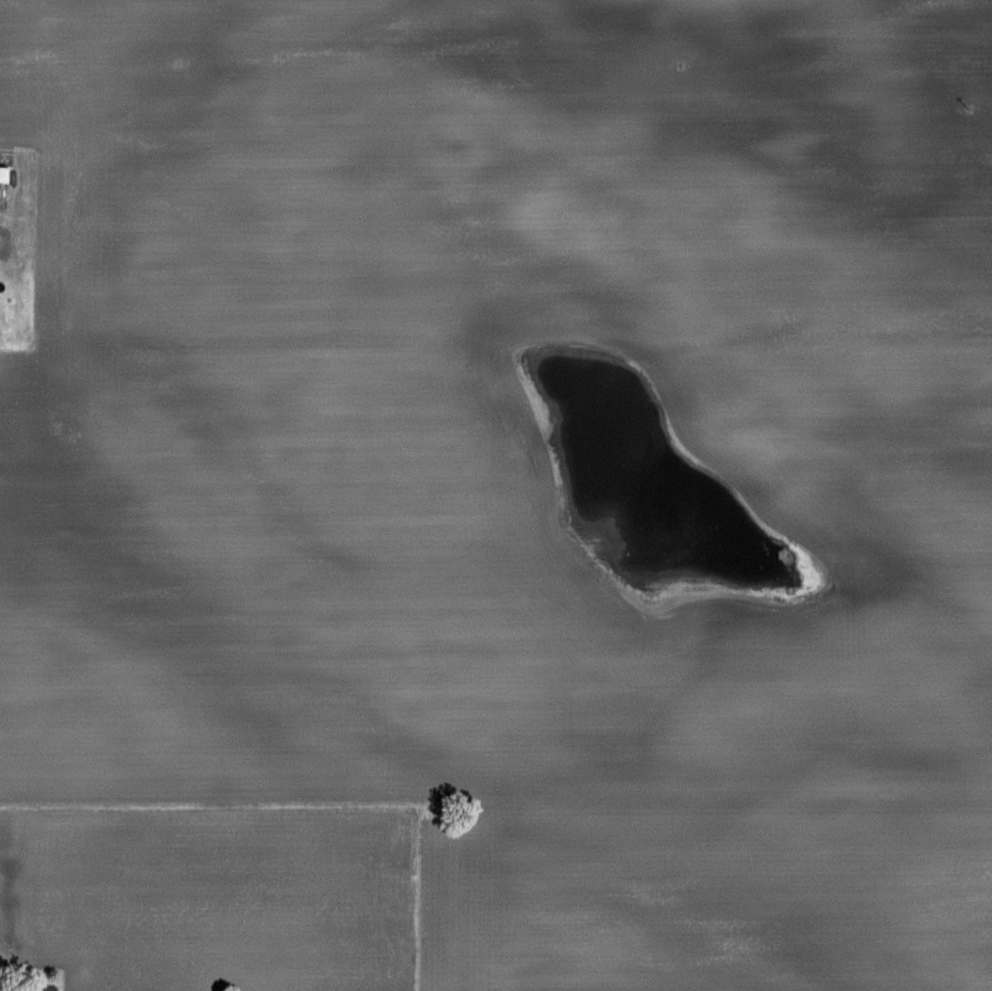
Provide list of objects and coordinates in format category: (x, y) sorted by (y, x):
building: (49, 988)

